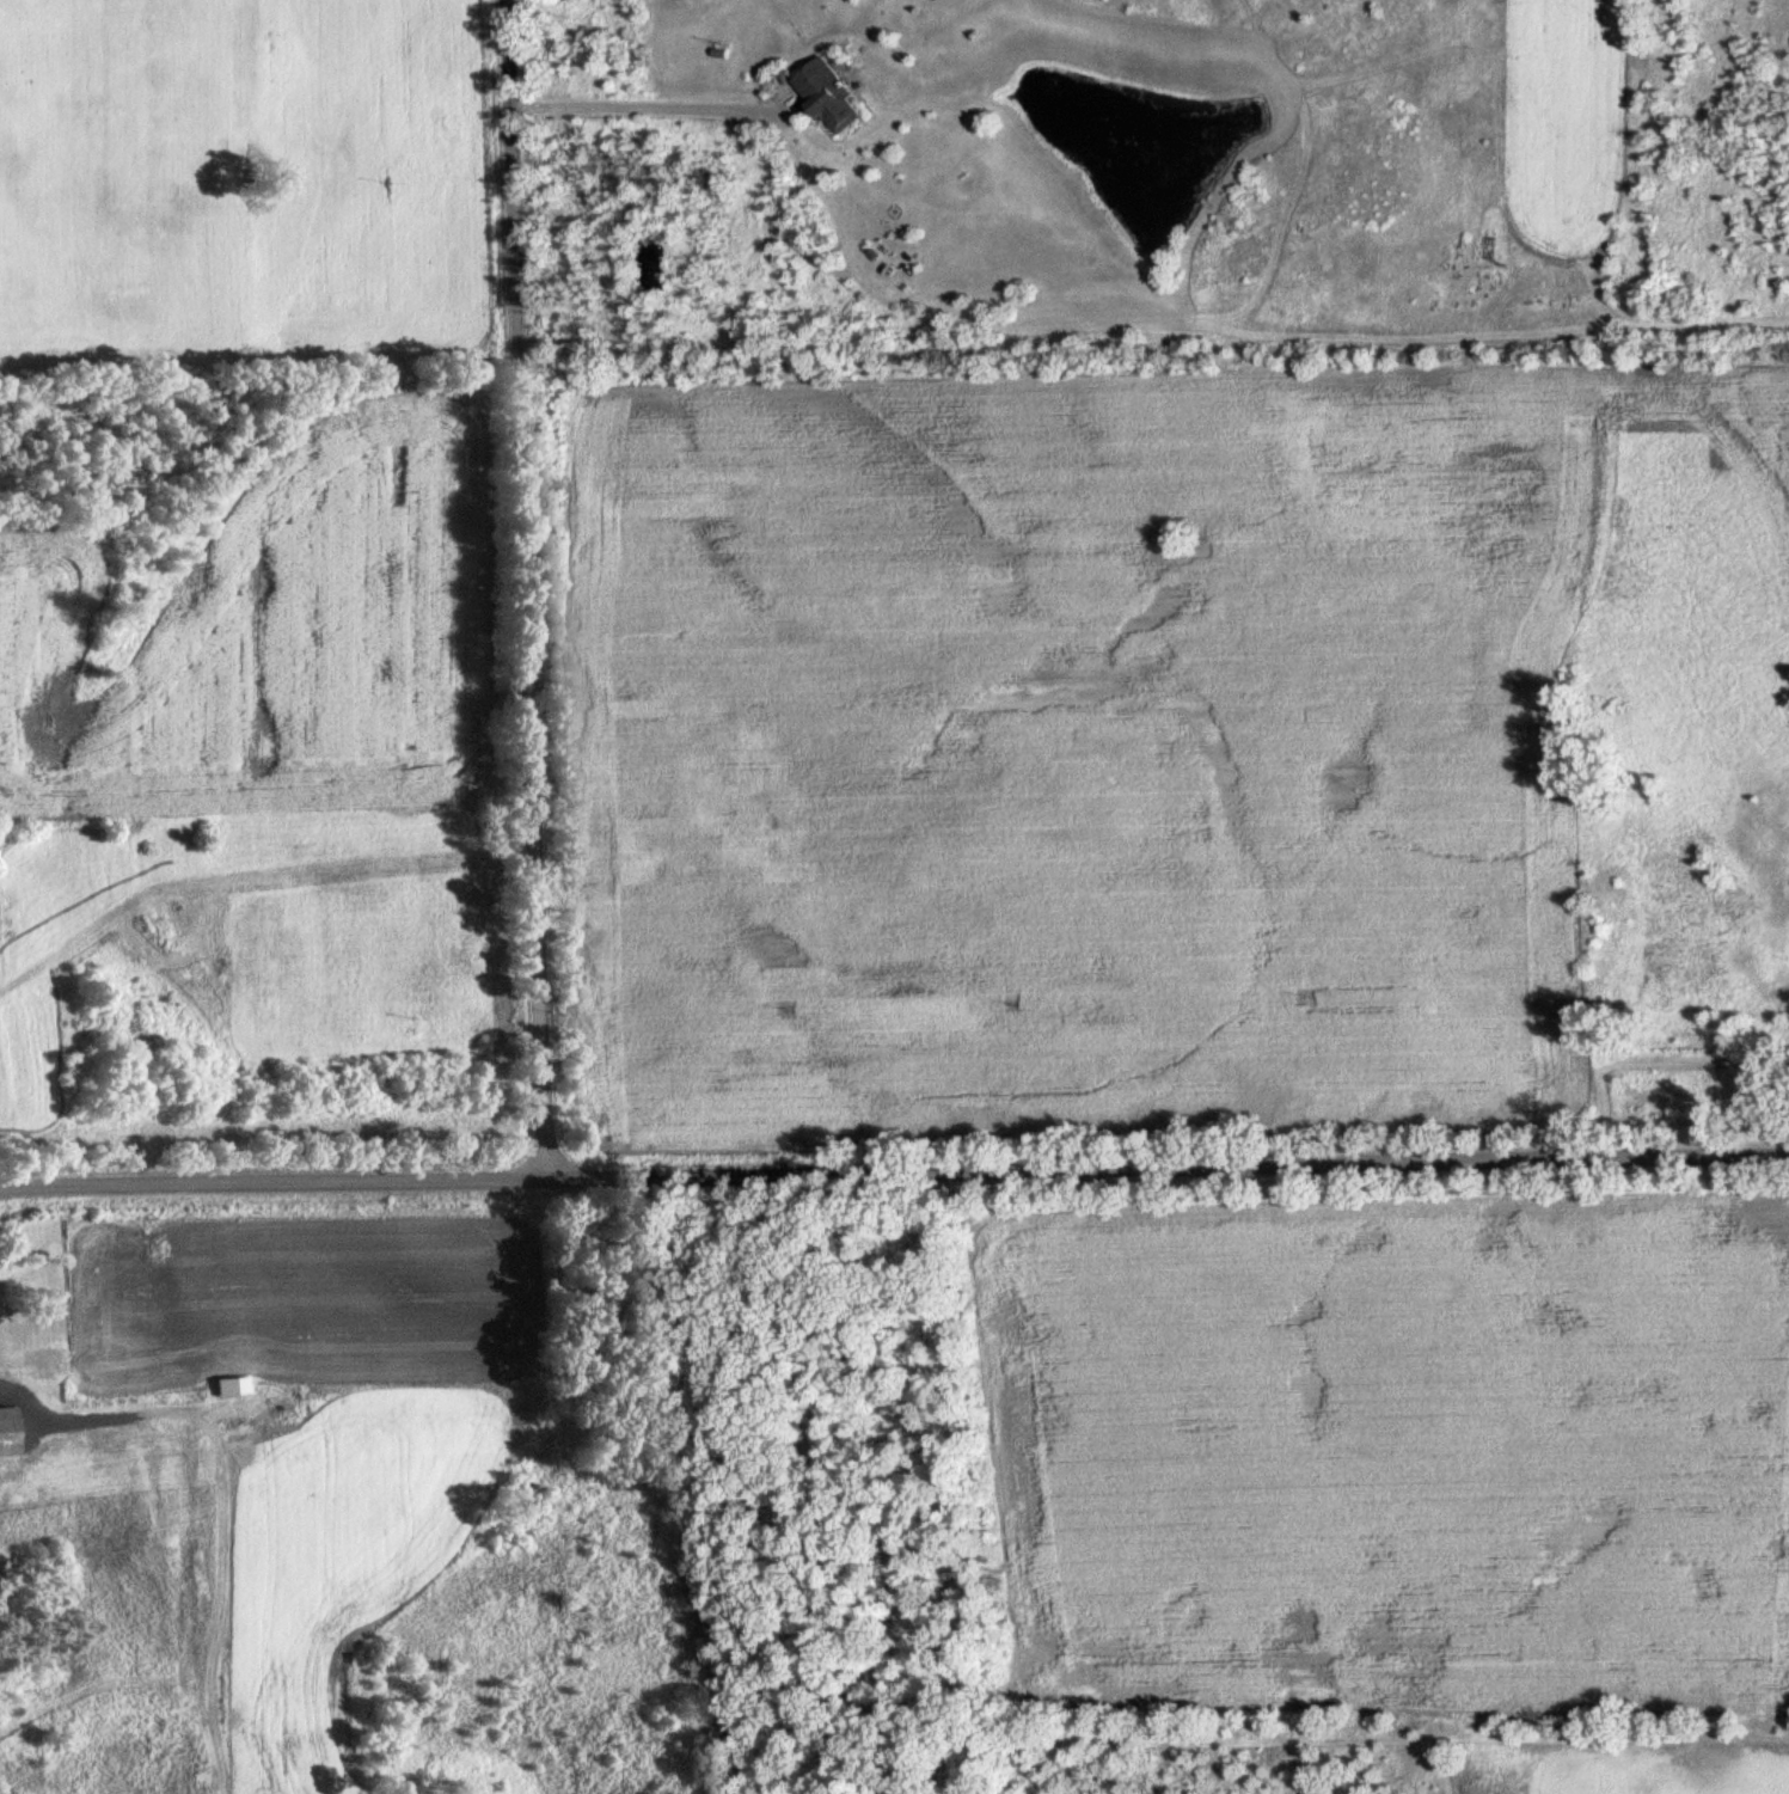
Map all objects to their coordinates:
building: (820, 98)
road: (629, 106)
building: (1484, 250)
road: (520, 587)
road: (894, 1167)
building: (56, 1365)
building: (12, 1432)

